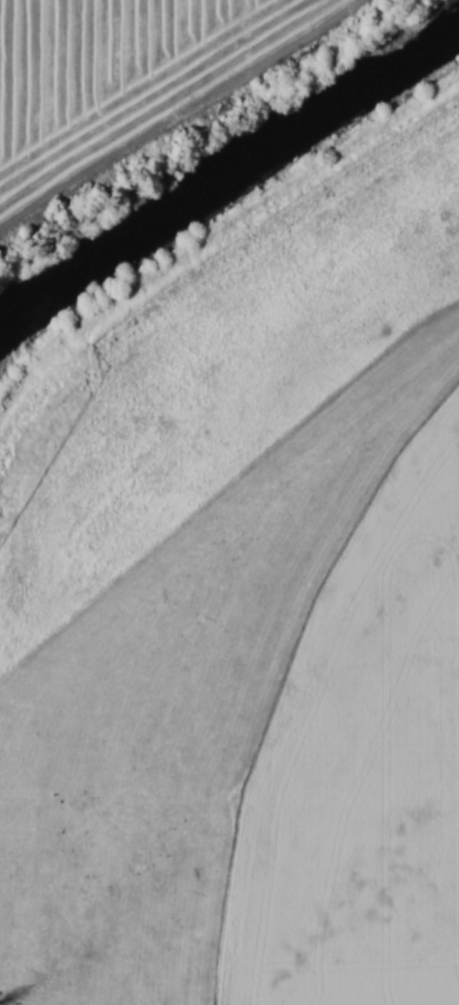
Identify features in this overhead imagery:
crop: (119, 77)
river: (224, 171)
crop: (364, 766)

